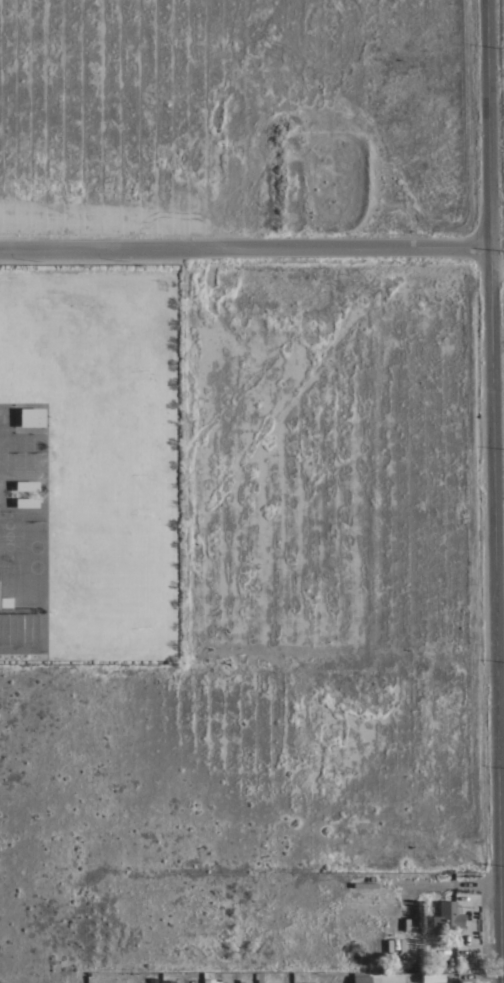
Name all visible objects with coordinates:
crop: (493, 98)
road: (245, 248)
building: (225, 369)
building: (223, 410)
building: (30, 418)
road: (495, 491)
building: (0, 596)
building: (17, 629)
building: (446, 919)
building: (360, 979)
building: (432, 979)
building: (151, 980)
building: (207, 981)
building: (167, 982)

